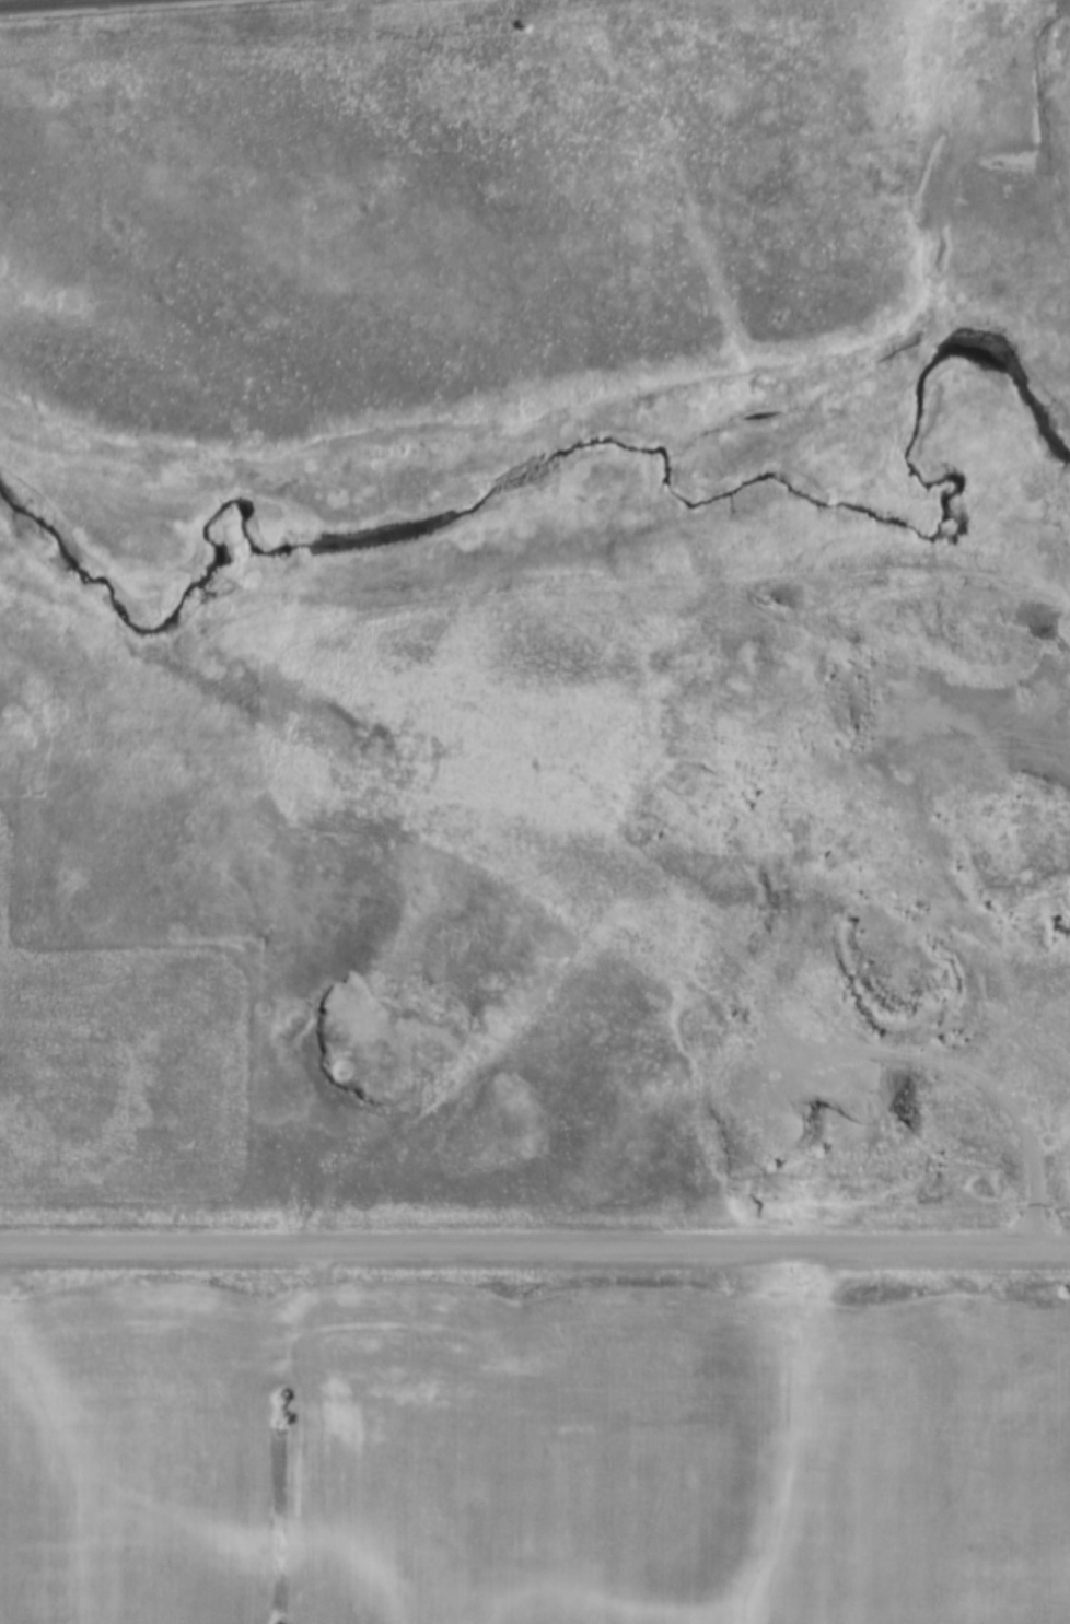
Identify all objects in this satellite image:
railway: (16, 1)
road: (535, 1246)

